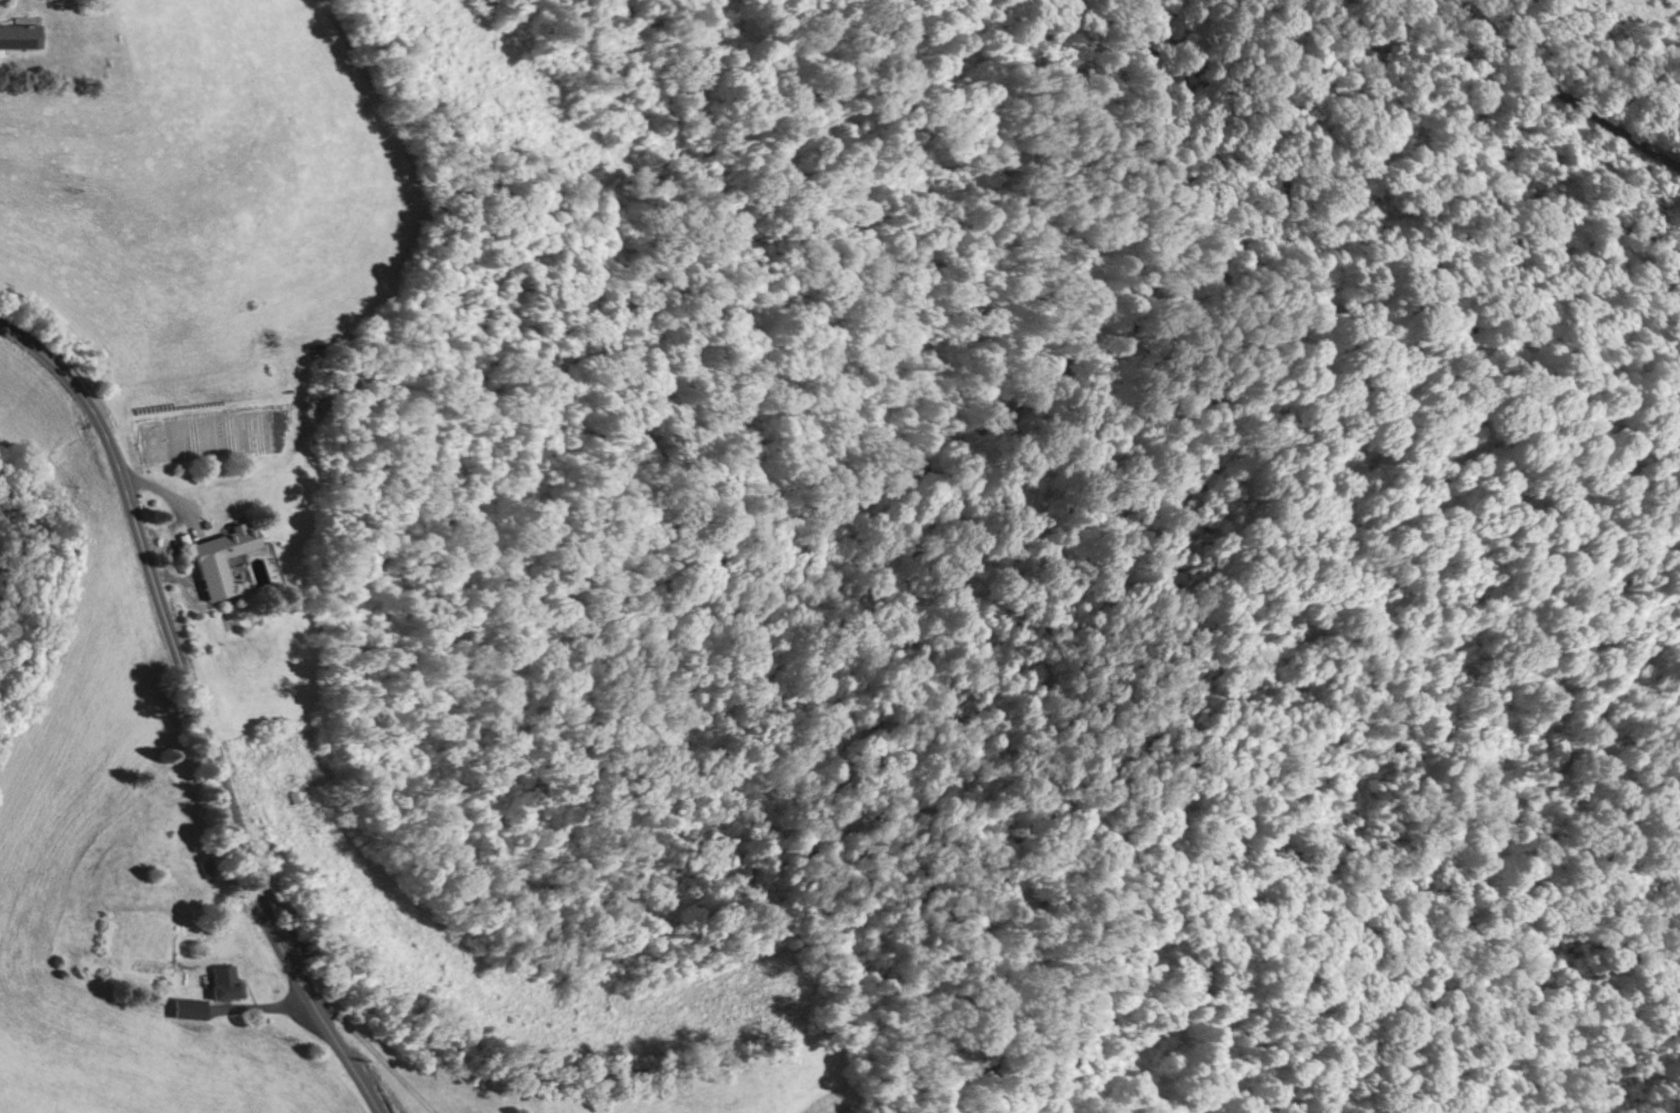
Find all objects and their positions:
building: (19, 34)
road: (1562, 94)
building: (224, 546)
road: (178, 647)
building: (223, 981)
building: (186, 1006)
road: (381, 1058)
road: (353, 1059)

